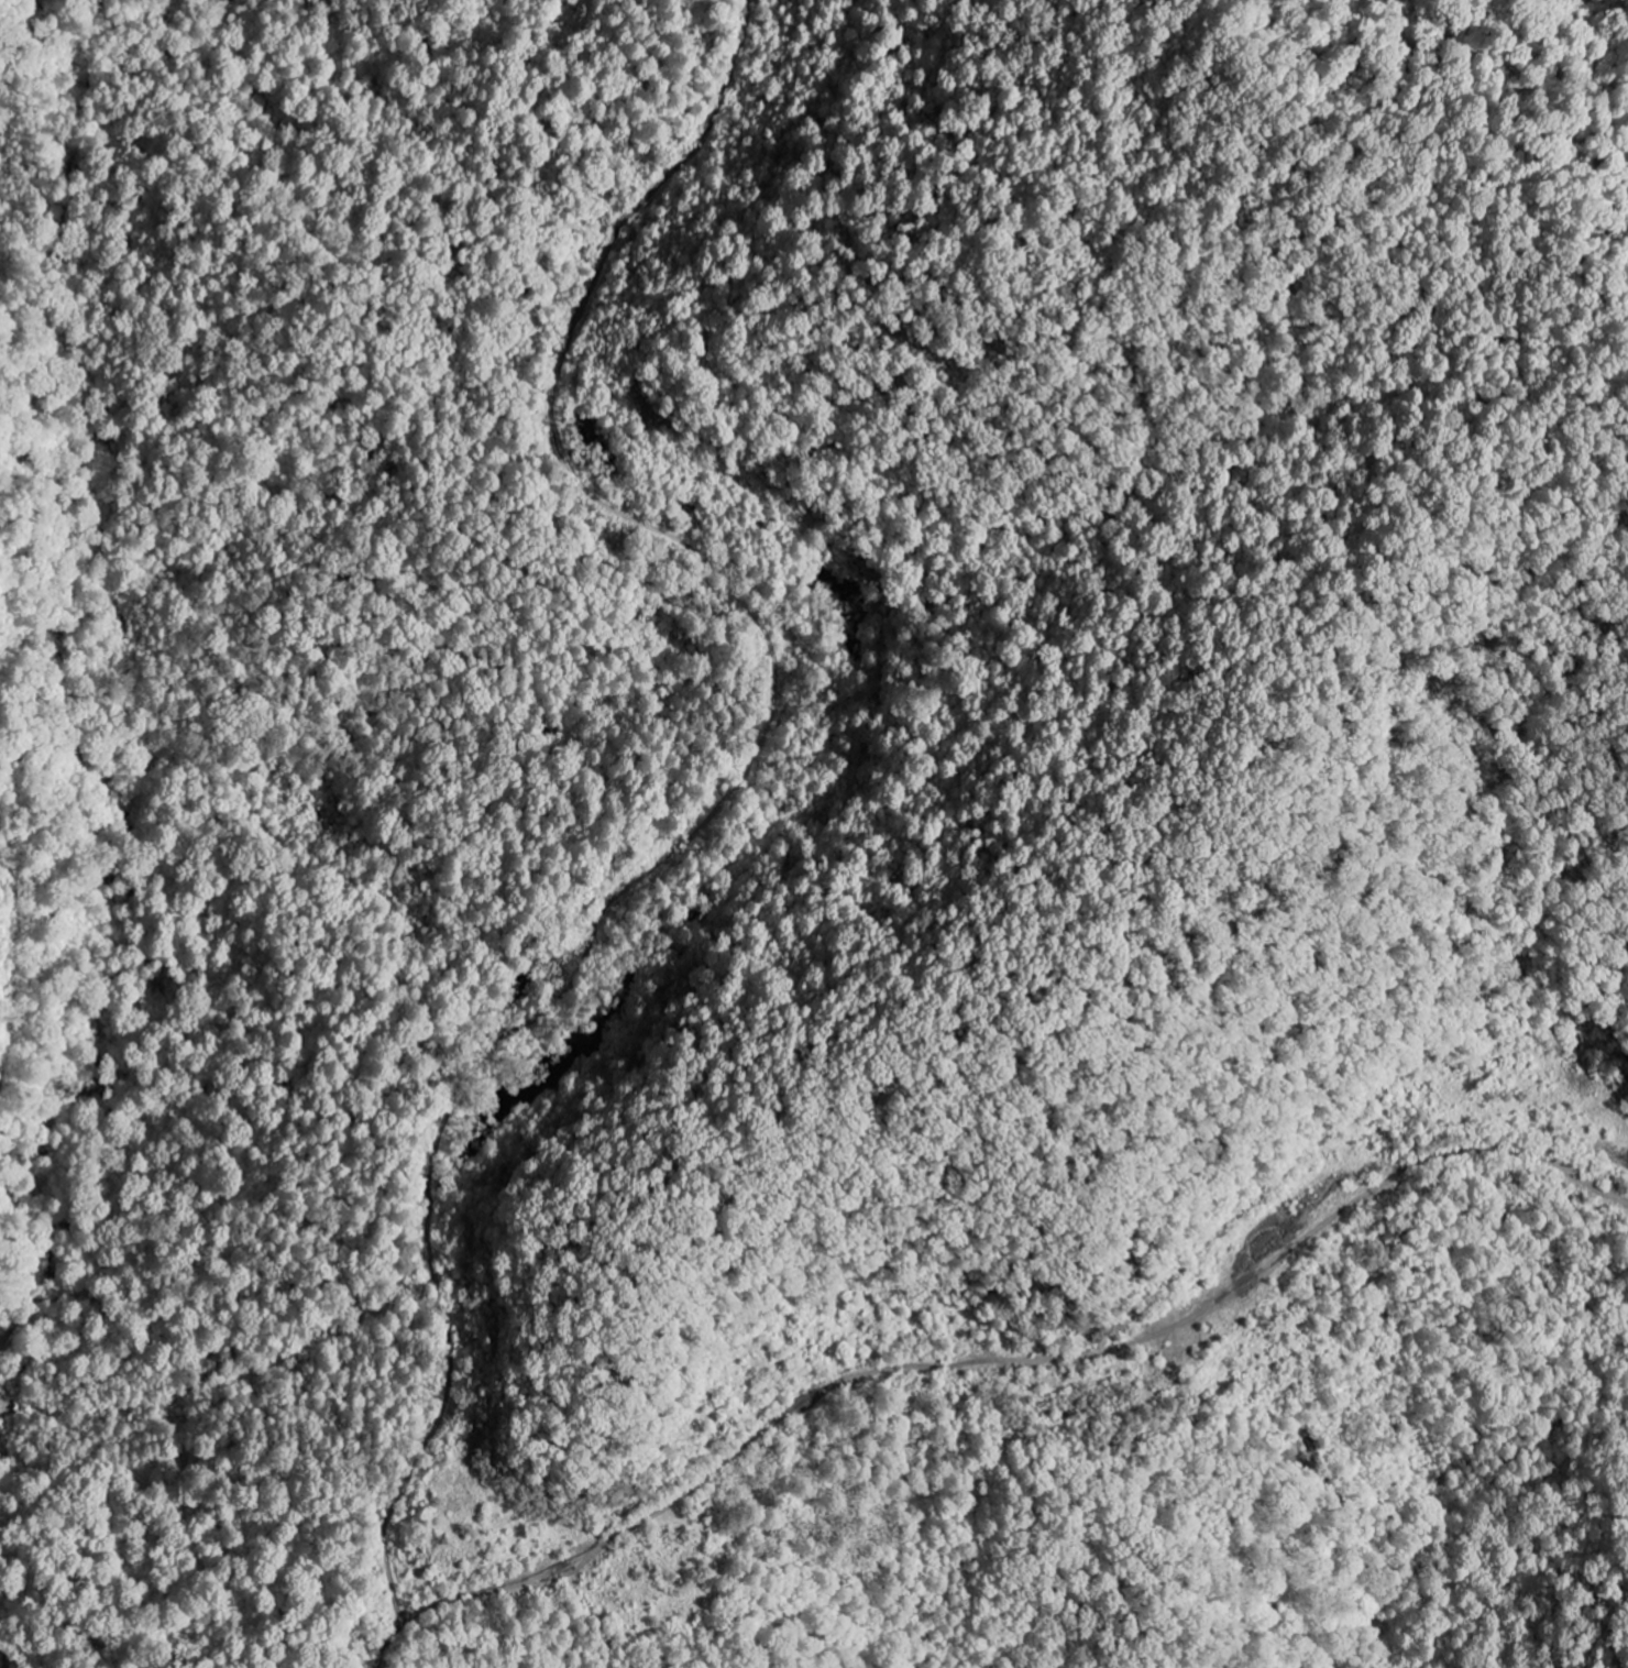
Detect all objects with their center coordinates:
road: (15, 73)

